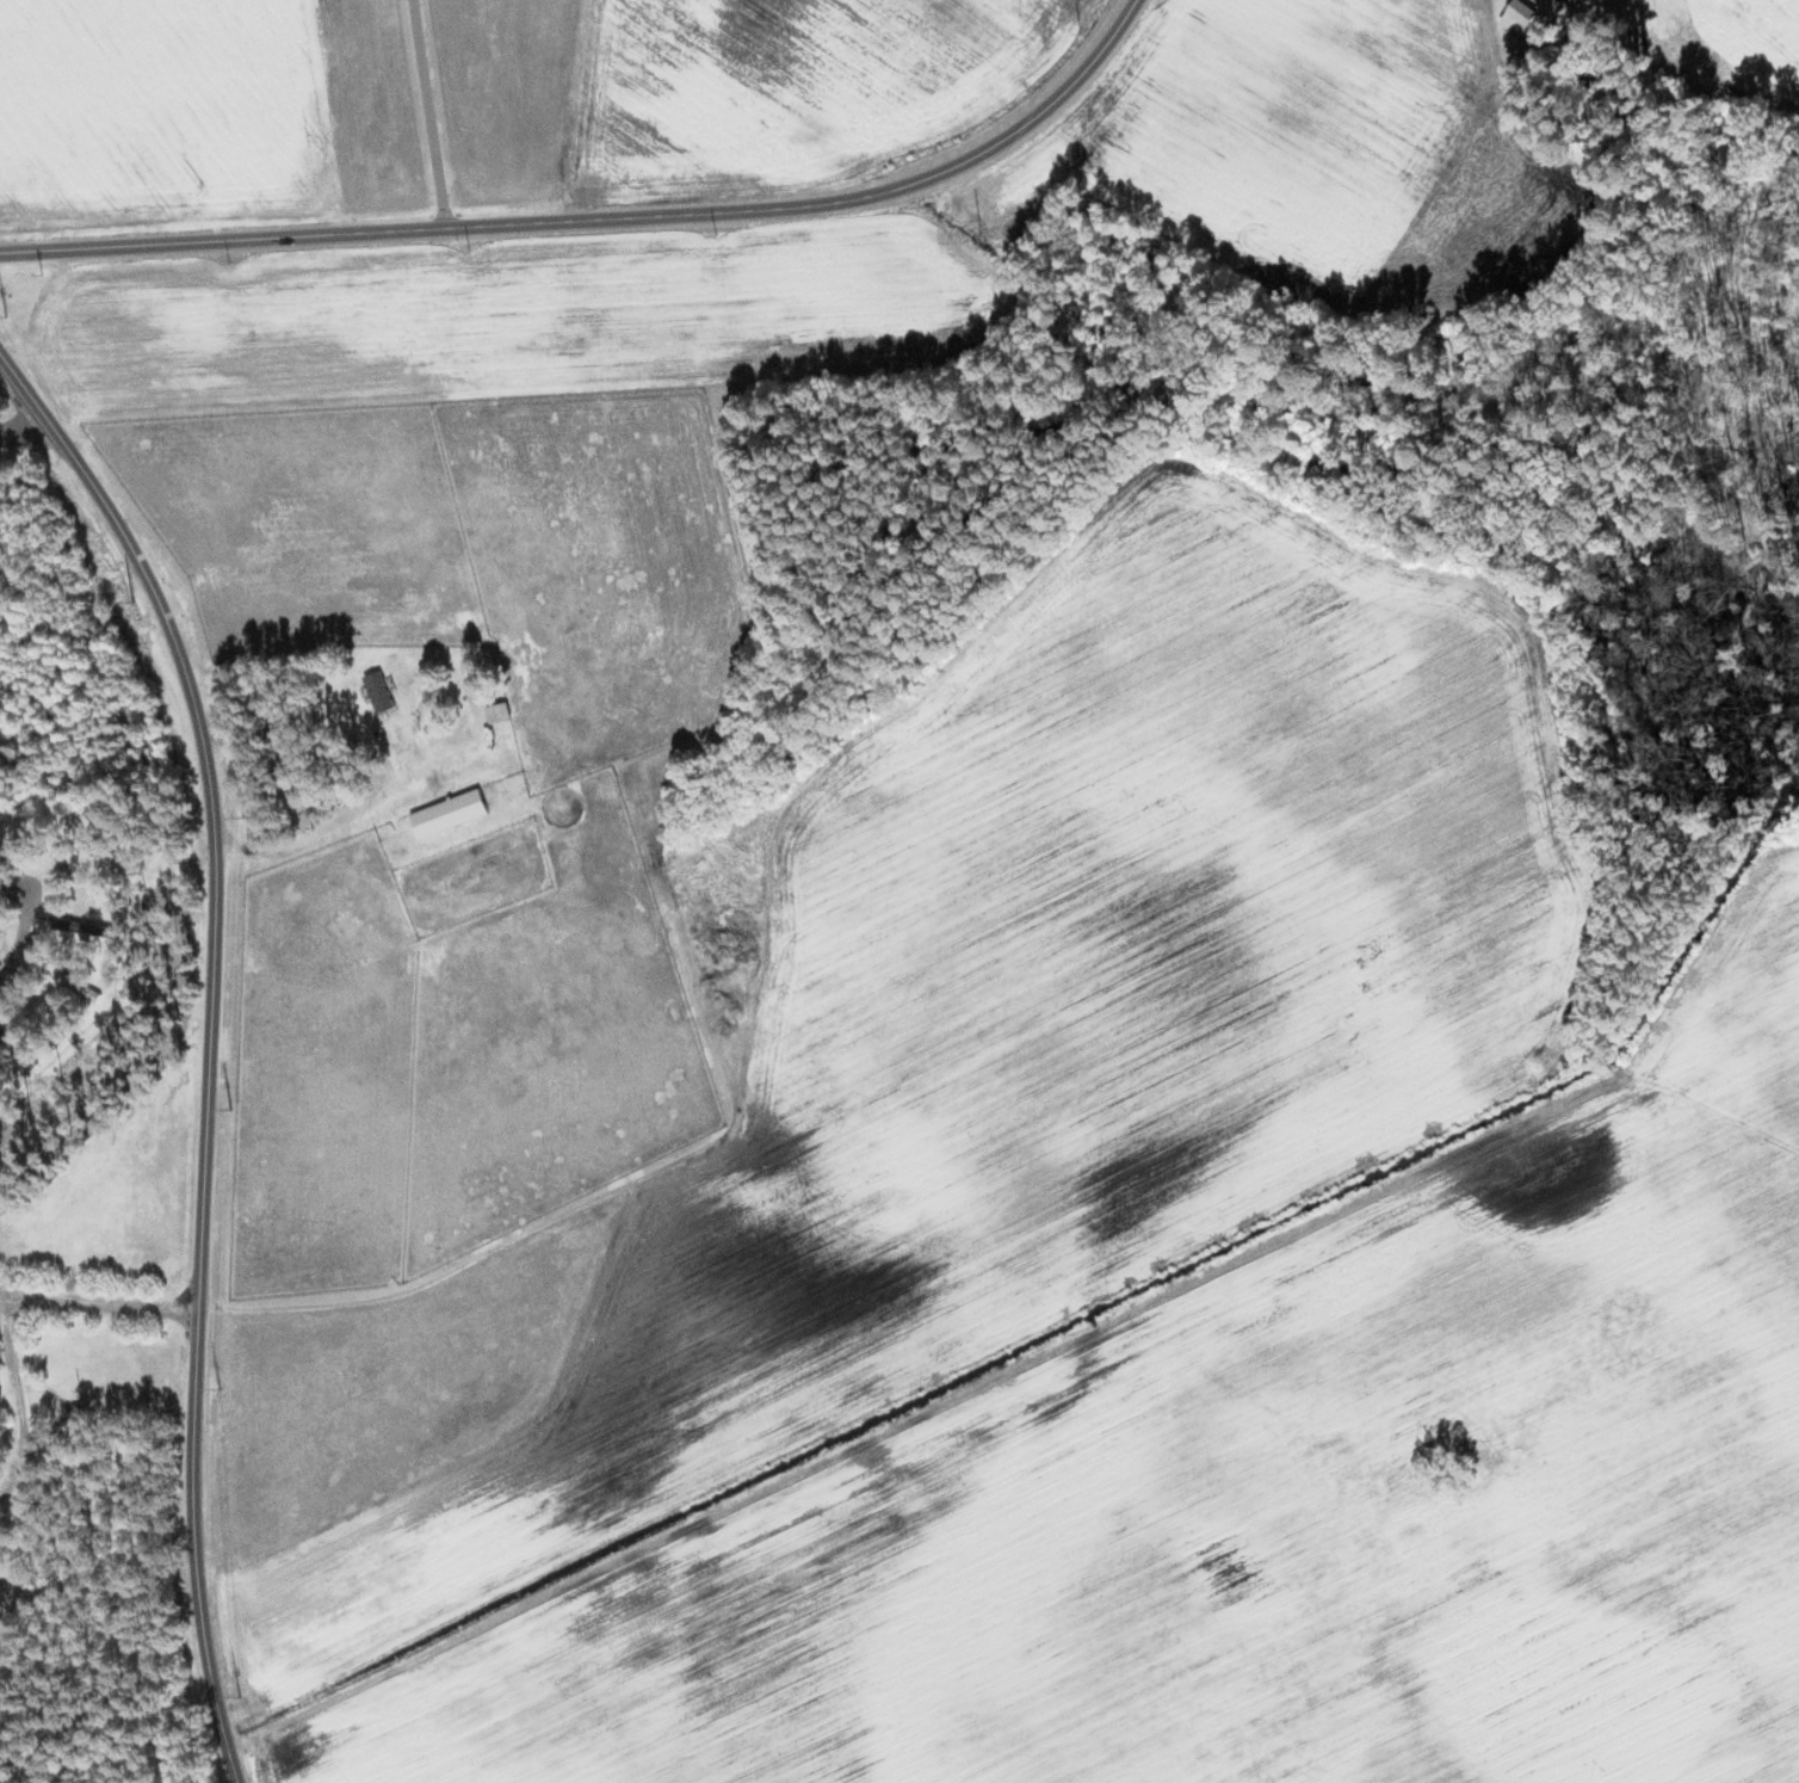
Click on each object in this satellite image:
building: (1517, 17)
road: (429, 112)
road: (604, 216)
building: (378, 691)
building: (497, 711)
building: (449, 813)
building: (76, 926)
road: (23, 940)
road: (209, 1043)
building: (18, 1048)
road: (99, 1304)
road: (21, 1396)

